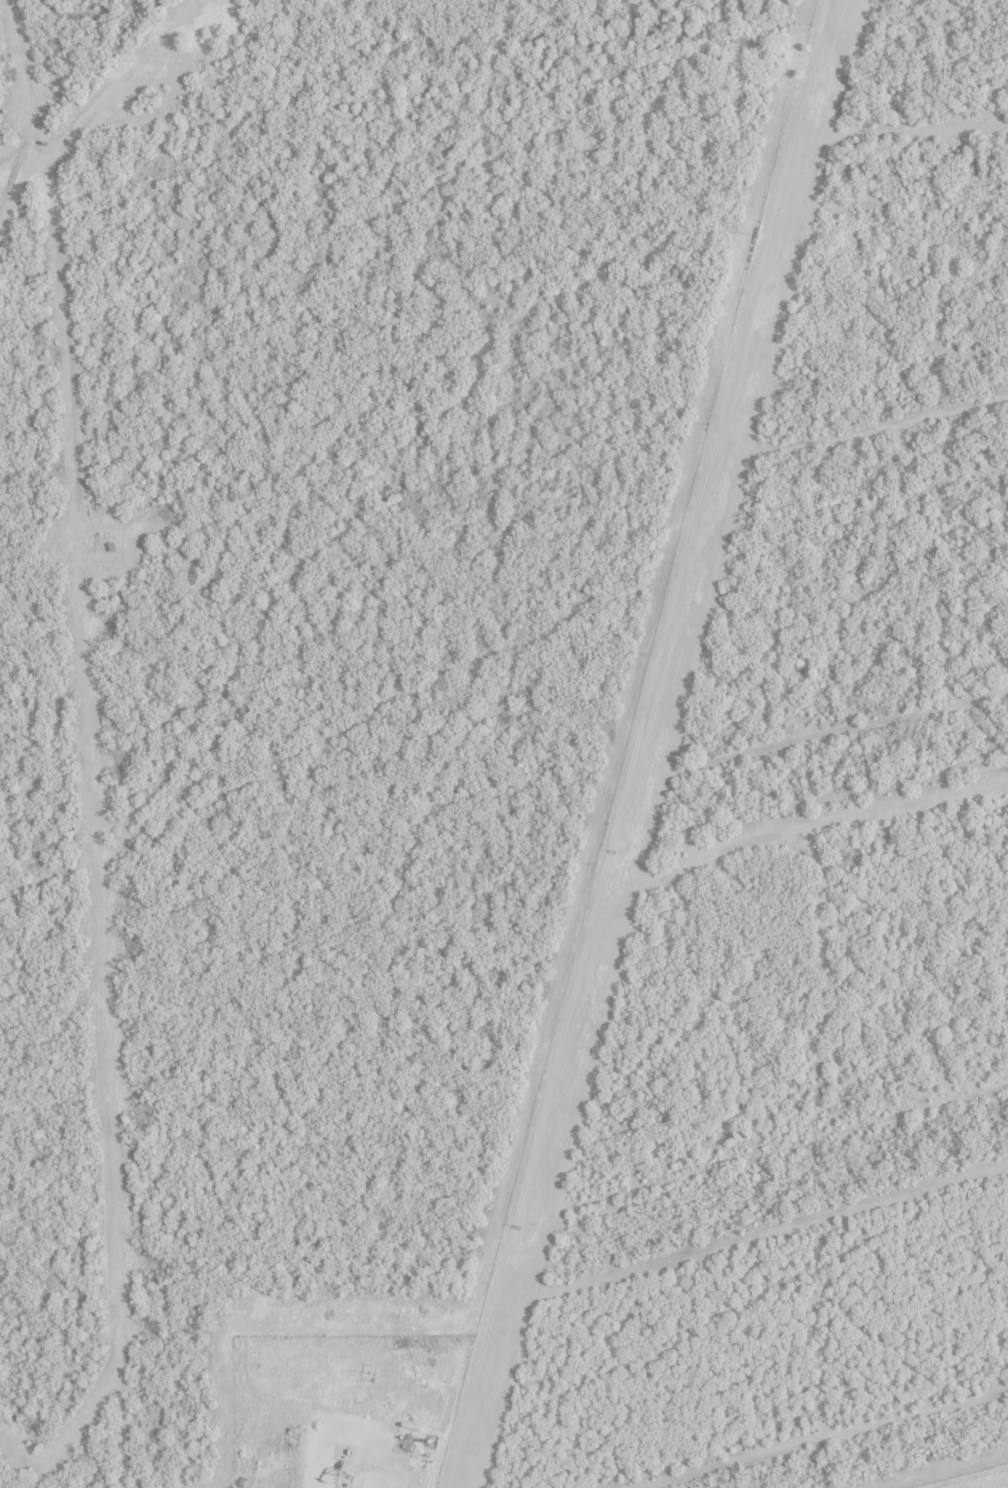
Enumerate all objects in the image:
road: (140, 76)
road: (39, 78)
road: (533, 155)

